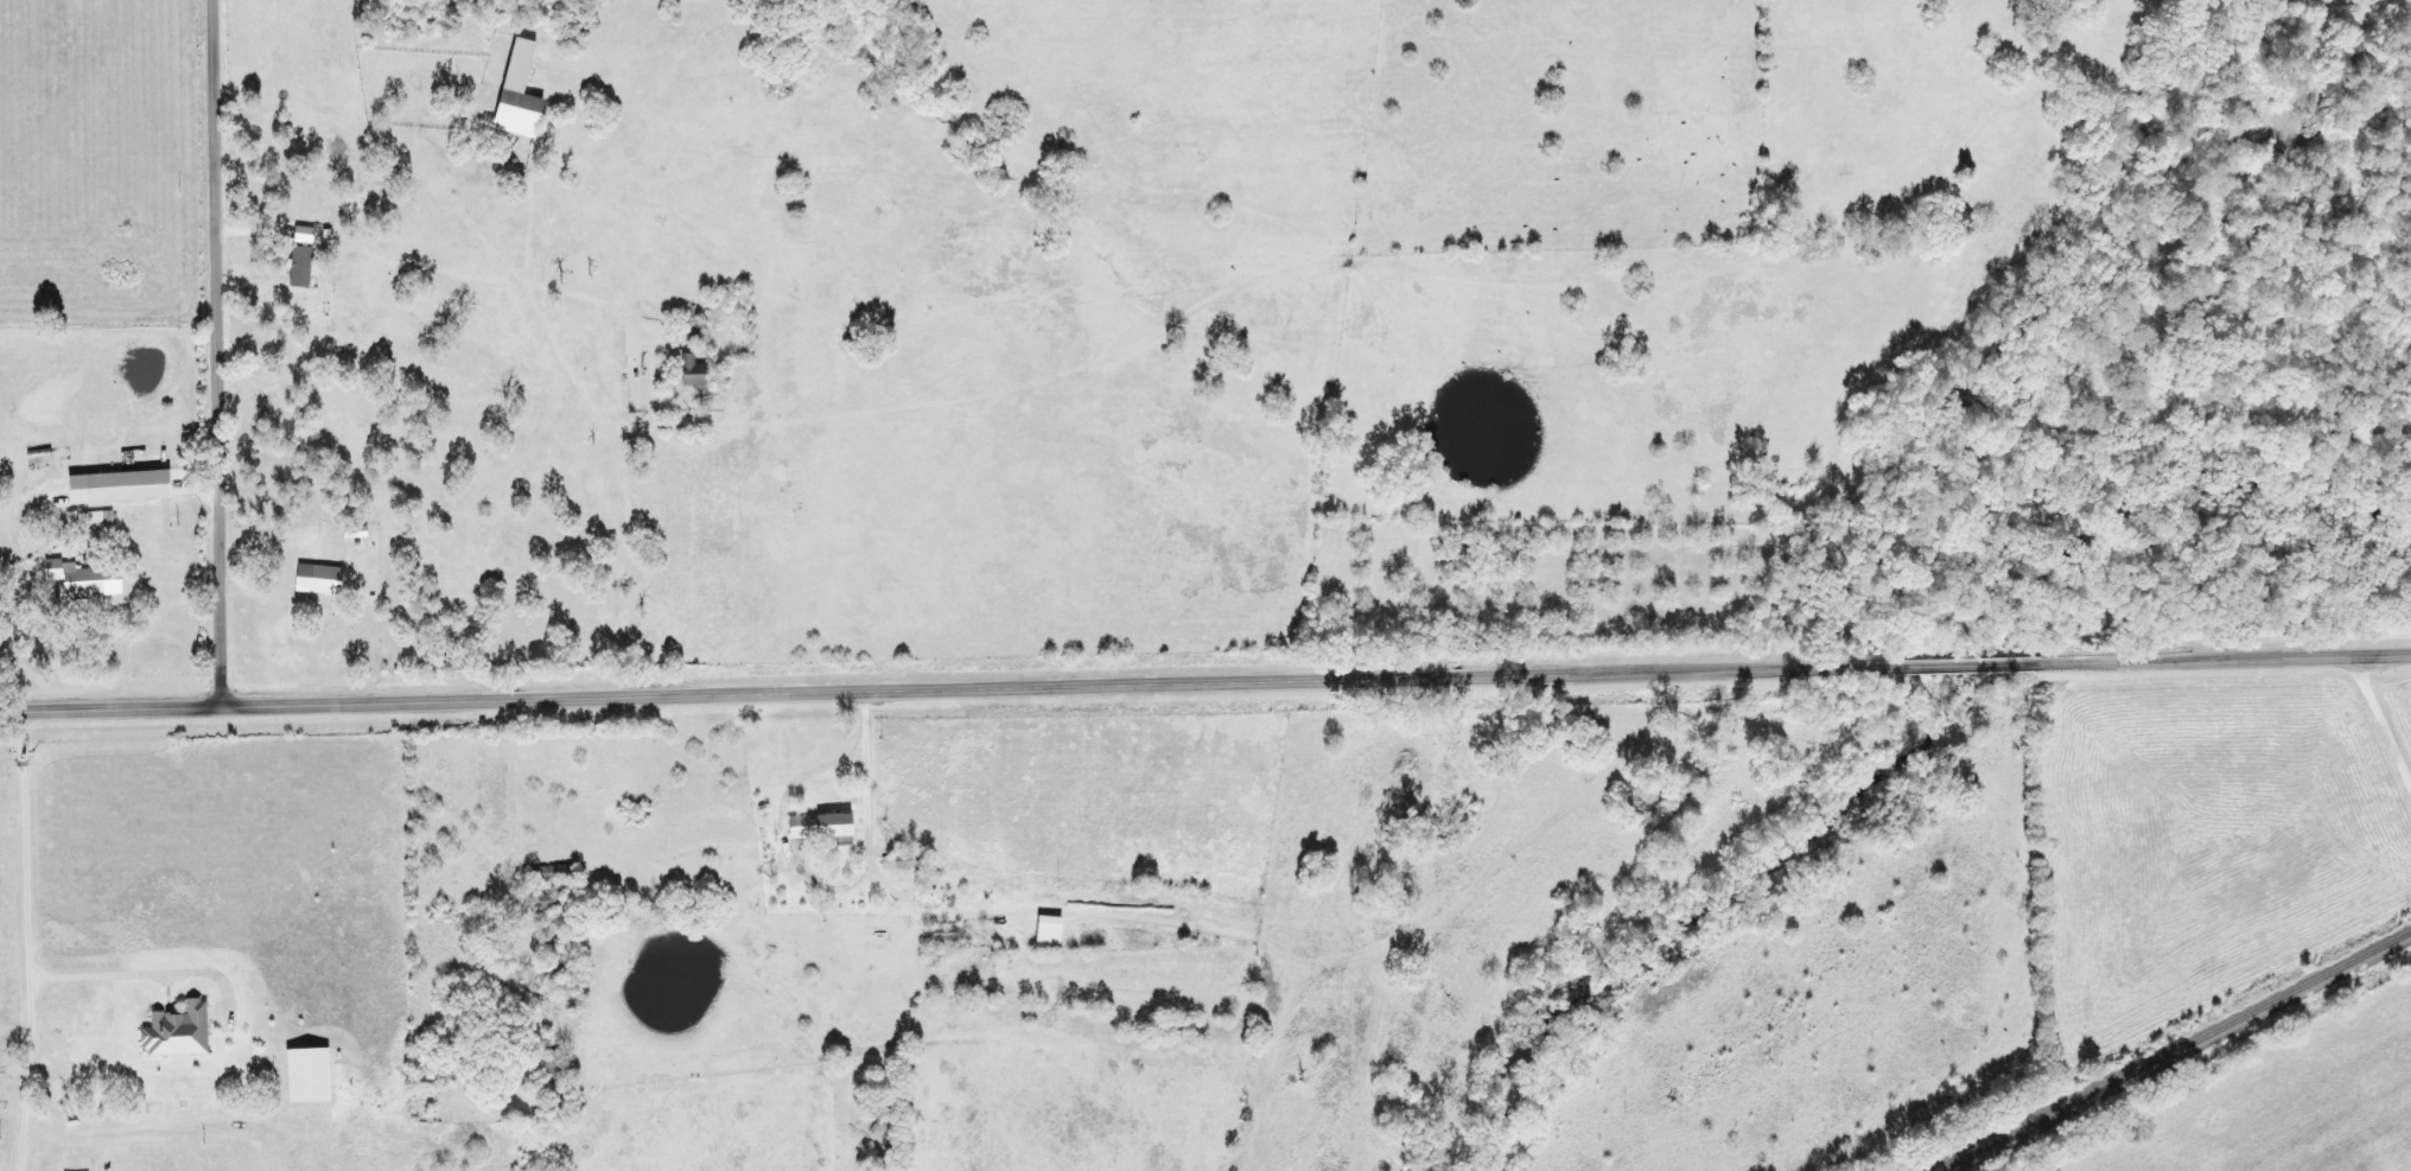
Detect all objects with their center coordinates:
building: (517, 113)
building: (693, 331)
road: (220, 350)
building: (692, 371)
building: (37, 457)
building: (97, 513)
building: (354, 532)
building: (318, 579)
building: (77, 580)
road: (1205, 682)
road: (2387, 717)
building: (820, 823)
building: (901, 859)
building: (553, 871)
building: (543, 898)
building: (1048, 928)
building: (940, 935)
road: (30, 940)
railway: (2173, 1050)
building: (306, 1074)
building: (556, 1082)

